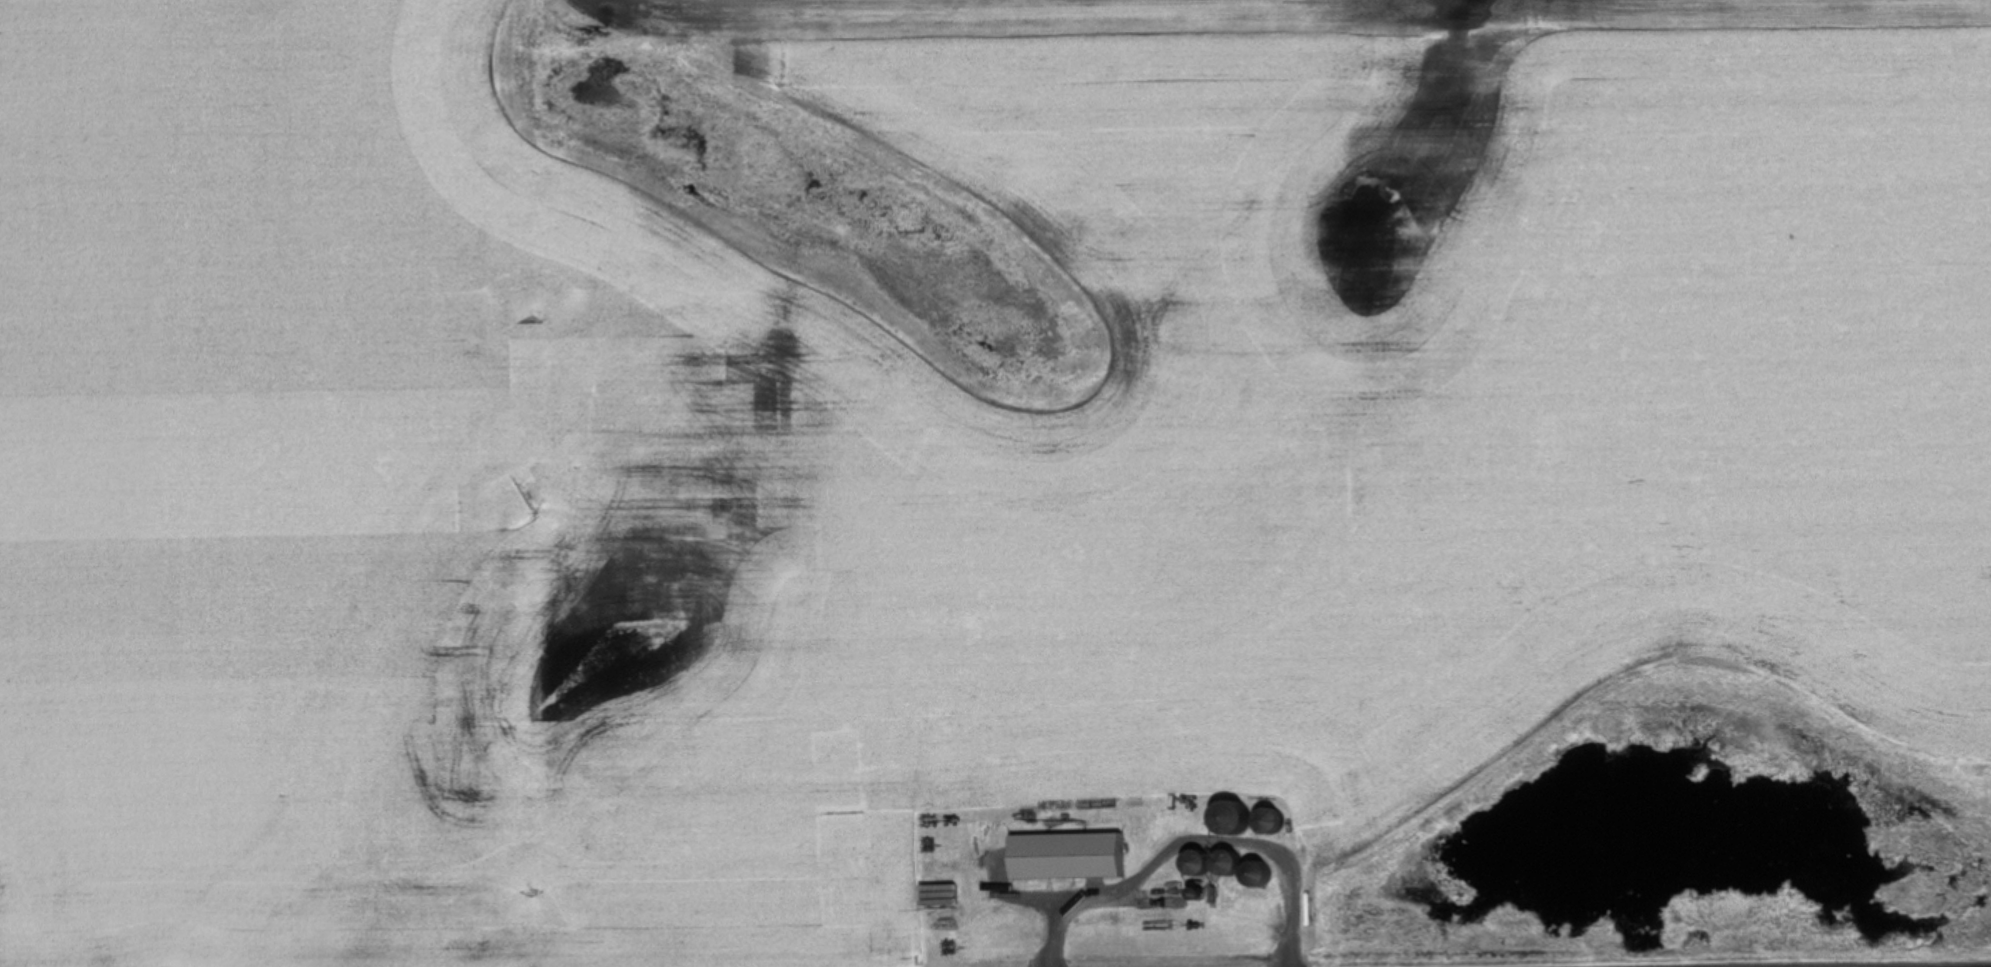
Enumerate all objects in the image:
building: (1223, 817)
building: (1266, 820)
road: (1192, 842)
building: (1066, 856)
building: (1206, 863)
building: (1255, 874)

